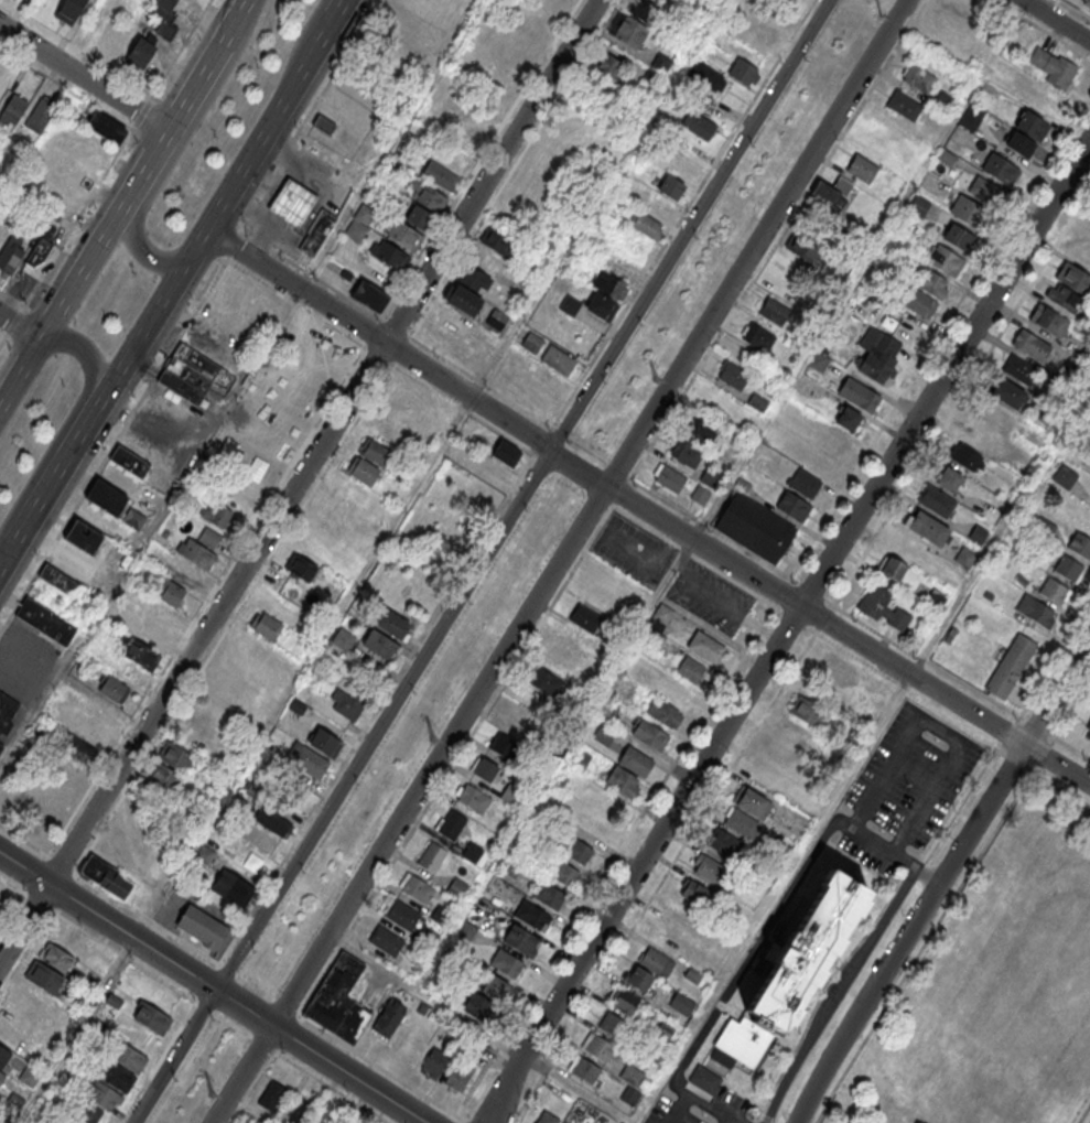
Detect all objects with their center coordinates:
building: (1086, 2)
building: (644, 9)
building: (68, 10)
road: (236, 14)
road: (336, 14)
building: (163, 18)
power tower: (874, 19)
road: (1056, 20)
building: (627, 29)
building: (767, 32)
building: (116, 34)
road: (299, 47)
building: (140, 52)
road: (174, 56)
building: (661, 64)
building: (608, 65)
building: (1051, 66)
building: (744, 74)
road: (84, 78)
building: (709, 78)
building: (918, 79)
road: (191, 91)
building: (903, 106)
building: (13, 108)
building: (40, 116)
building: (324, 125)
building: (1032, 125)
building: (699, 126)
building: (106, 128)
building: (1019, 142)
road: (177, 150)
building: (862, 169)
building: (1001, 170)
building: (390, 171)
building: (441, 175)
building: (671, 188)
building: (834, 192)
building: (985, 193)
building: (425, 195)
building: (292, 205)
building: (918, 206)
building: (969, 213)
building: (420, 217)
building: (359, 223)
building: (646, 226)
building: (316, 234)
building: (404, 235)
building: (497, 240)
building: (960, 240)
road: (201, 241)
building: (802, 245)
building: (39, 251)
building: (10, 255)
building: (390, 255)
building: (945, 262)
road: (75, 276)
building: (475, 279)
building: (1073, 279)
building: (932, 284)
building: (369, 295)
building: (1064, 296)
building: (462, 299)
building: (919, 301)
building: (569, 304)
building: (602, 310)
building: (775, 313)
building: (497, 318)
building: (1049, 321)
building: (452, 322)
road: (18, 326)
building: (757, 338)
building: (531, 342)
building: (1032, 346)
road: (930, 348)
building: (881, 356)
building: (558, 361)
building: (818, 361)
building: (1019, 369)
building: (188, 374)
power tower: (655, 376)
building: (734, 377)
road: (239, 385)
building: (1006, 395)
building: (859, 397)
building: (300, 402)
building: (846, 418)
road: (69, 420)
building: (288, 422)
building: (702, 429)
building: (389, 432)
building: (978, 432)
road: (322, 442)
building: (505, 451)
building: (376, 452)
road: (927, 452)
building: (687, 455)
building: (968, 458)
building: (128, 461)
building: (363, 469)
building: (489, 469)
building: (710, 477)
building: (1065, 477)
building: (949, 478)
building: (670, 480)
building: (803, 482)
road: (720, 493)
building: (700, 495)
building: (107, 496)
building: (937, 501)
road: (40, 503)
building: (792, 505)
road: (647, 510)
building: (218, 514)
building: (992, 515)
building: (133, 518)
building: (754, 527)
building: (928, 530)
building: (83, 536)
building: (978, 536)
parking lot: (633, 547)
building: (1080, 547)
building: (196, 552)
building: (965, 559)
road: (479, 561)
road: (559, 561)
road: (4, 562)
building: (892, 568)
building: (1069, 570)
building: (183, 573)
building: (607, 576)
building: (61, 580)
building: (1054, 592)
parking lot: (709, 595)
building: (936, 600)
building: (169, 606)
building: (883, 607)
building: (1034, 611)
building: (662, 613)
building: (586, 618)
building: (45, 620)
building: (266, 624)
building: (392, 624)
road: (785, 629)
building: (148, 633)
building: (343, 639)
building: (380, 644)
building: (705, 646)
building: (561, 649)
building: (141, 654)
road: (1055, 660)
parking lot: (25, 661)
building: (835, 666)
building: (1011, 668)
building: (690, 669)
building: (546, 681)
road: (961, 682)
building: (112, 689)
building: (879, 697)
building: (347, 706)
building: (7, 711)
building: (807, 711)
building: (663, 713)
building: (205, 725)
road: (939, 728)
building: (649, 734)
building: (1087, 735)
building: (84, 737)
power tower: (432, 738)
building: (326, 742)
building: (503, 743)
building: (0, 746)
road: (861, 755)
building: (306, 759)
building: (635, 760)
building: (168, 768)
building: (485, 769)
building: (623, 781)
parking lot: (904, 788)
building: (474, 798)
building: (751, 801)
building: (272, 820)
building: (741, 822)
building: (451, 823)
building: (724, 843)
building: (576, 851)
building: (432, 856)
building: (509, 866)
building: (708, 868)
road: (23, 870)
building: (563, 874)
building: (106, 876)
road: (940, 879)
road: (14, 885)
building: (233, 886)
building: (418, 888)
building: (694, 893)
building: (4, 894)
building: (548, 895)
road: (39, 900)
road: (780, 906)
building: (1, 910)
park: (1089, 911)
building: (402, 914)
building: (532, 915)
road: (940, 917)
road: (23, 922)
building: (201, 925)
road: (84, 930)
building: (387, 940)
building: (520, 940)
road: (123, 955)
building: (57, 957)
building: (100, 957)
building: (656, 961)
building: (508, 963)
building: (791, 969)
road: (235, 974)
building: (44, 975)
building: (638, 978)
building: (495, 986)
park: (994, 990)
building: (30, 998)
building: (338, 998)
building: (623, 998)
building: (681, 1003)
road: (236, 1004)
building: (478, 1006)
building: (152, 1017)
building: (389, 1017)
building: (613, 1024)
road: (476, 1028)
road: (77, 1032)
building: (11, 1035)
road: (258, 1040)
building: (597, 1046)
building: (4, 1057)
building: (129, 1057)
building: (435, 1061)
building: (583, 1068)
building: (1, 1075)
building: (457, 1075)
building: (632, 1075)
building: (29, 1076)
building: (117, 1076)
building: (704, 1078)
building: (104, 1094)
power tower: (212, 1095)
building: (272, 1095)
road: (692, 1098)
building: (13, 1101)
building: (296, 1110)
parking lot: (670, 1112)
building: (87, 1113)
road: (1084, 1114)
building: (547, 1117)
road: (725, 1120)
road: (733, 1120)

